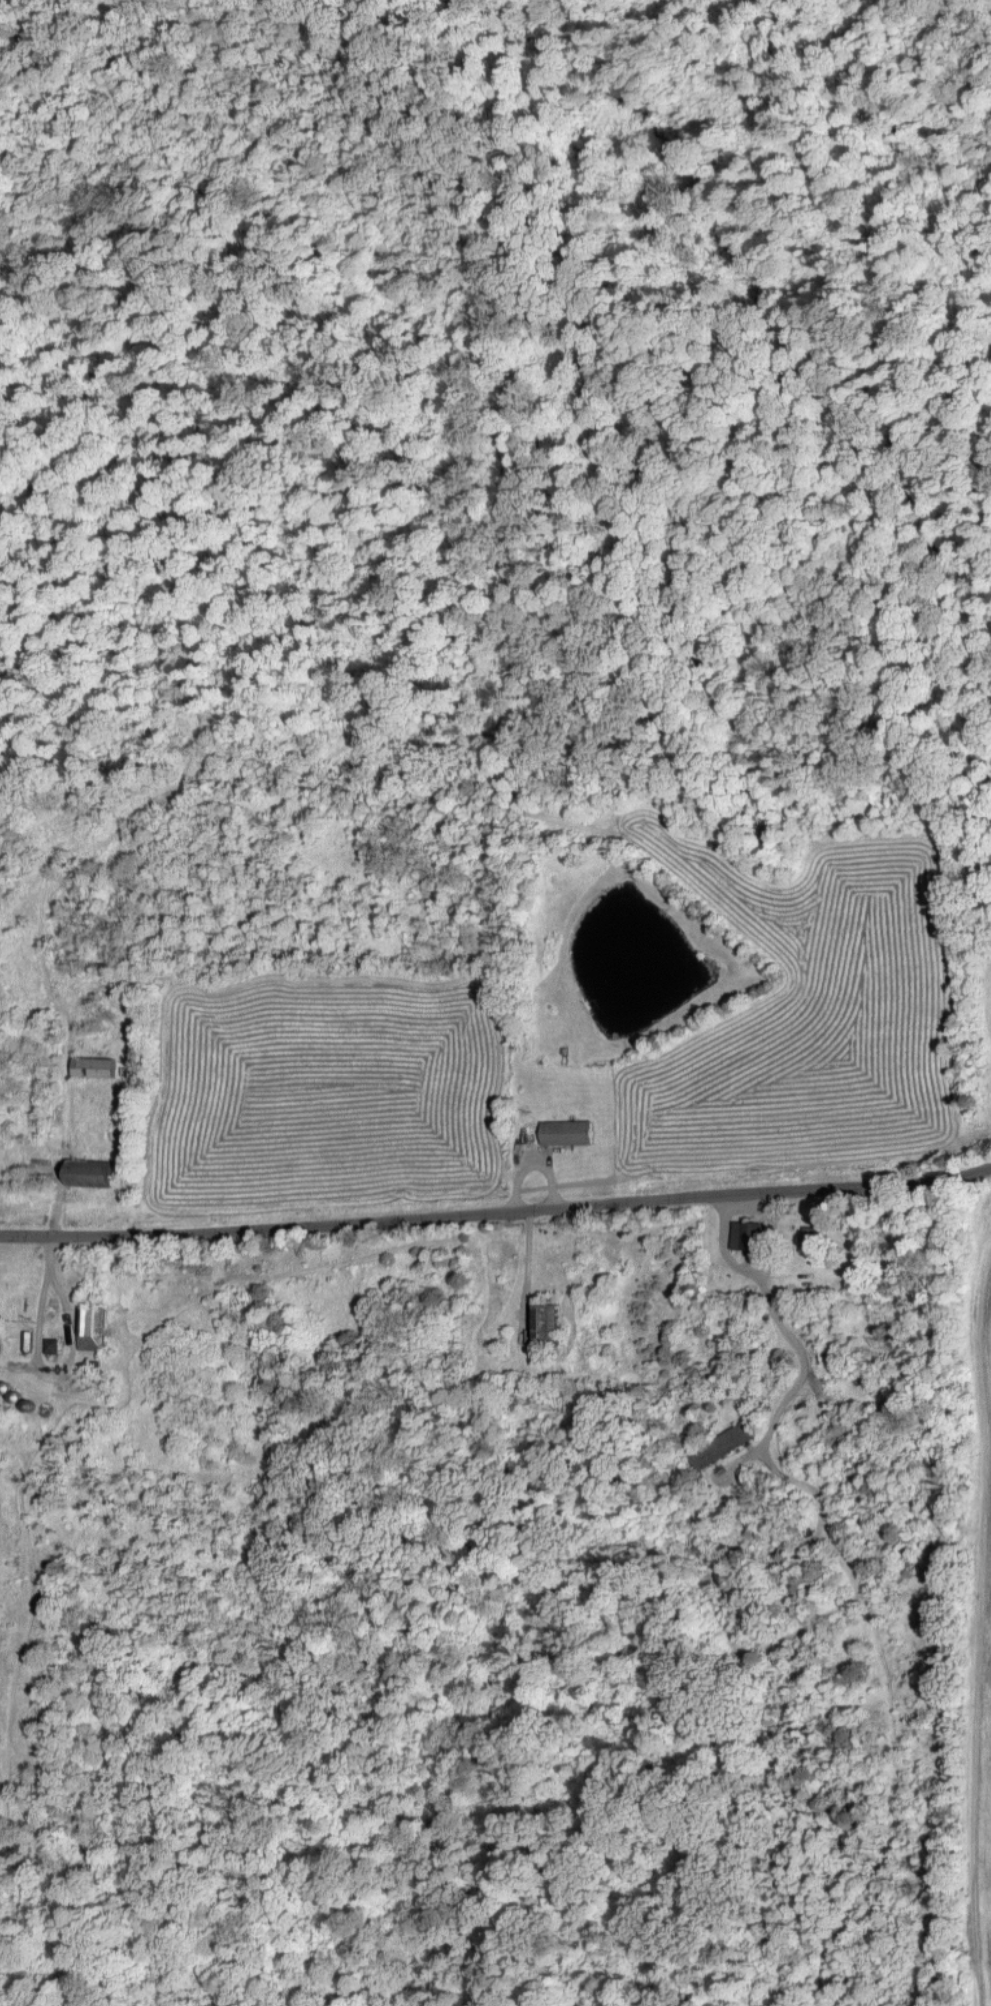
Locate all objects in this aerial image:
building: (94, 1066)
building: (565, 1131)
building: (85, 1171)
road: (496, 1210)
road: (748, 1271)
road: (70, 1361)
road: (800, 1375)
road: (970, 1438)

